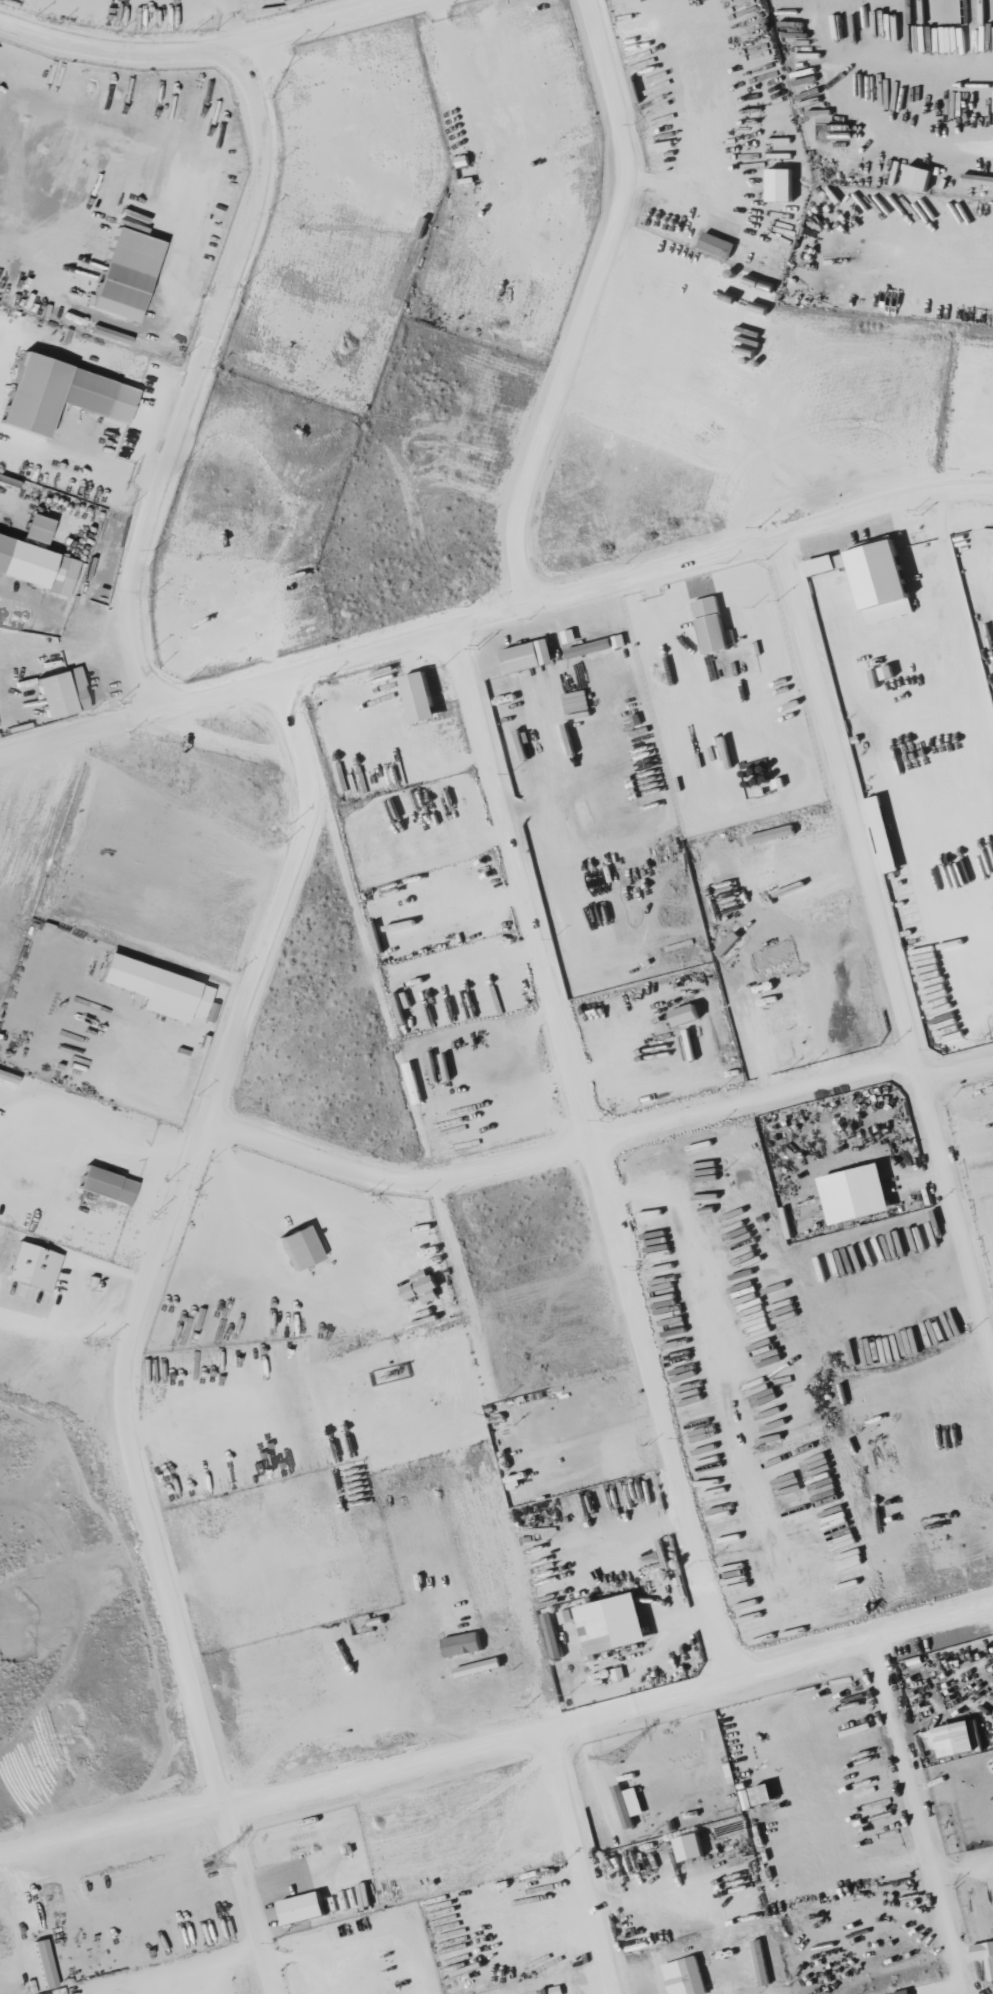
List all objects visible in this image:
road: (202, 48)
building: (921, 176)
building: (783, 184)
road: (940, 237)
building: (718, 244)
building: (130, 273)
road: (574, 314)
building: (112, 335)
road: (189, 375)
building: (66, 394)
building: (40, 528)
building: (38, 564)
building: (827, 564)
building: (885, 581)
road: (495, 615)
building: (713, 625)
building: (567, 640)
building: (599, 646)
building: (65, 693)
building: (423, 698)
building: (885, 834)
road: (888, 948)
building: (155, 986)
building: (202, 1004)
building: (689, 1015)
road: (958, 1075)
road: (594, 1150)
road: (550, 1158)
building: (110, 1184)
building: (860, 1194)
road: (140, 1237)
building: (304, 1246)
building: (35, 1265)
building: (425, 1289)
petroleum well: (396, 1368)
building: (601, 1628)
building: (464, 1644)
road: (496, 1739)
building: (963, 1739)
power tower: (617, 1758)
building: (630, 1805)
road: (927, 1814)
building: (693, 1847)
road: (582, 1859)
power tower: (209, 1864)
road: (247, 1903)
building: (305, 1908)
building: (986, 1955)
building: (46, 1963)
building: (695, 1975)
building: (905, 1992)

